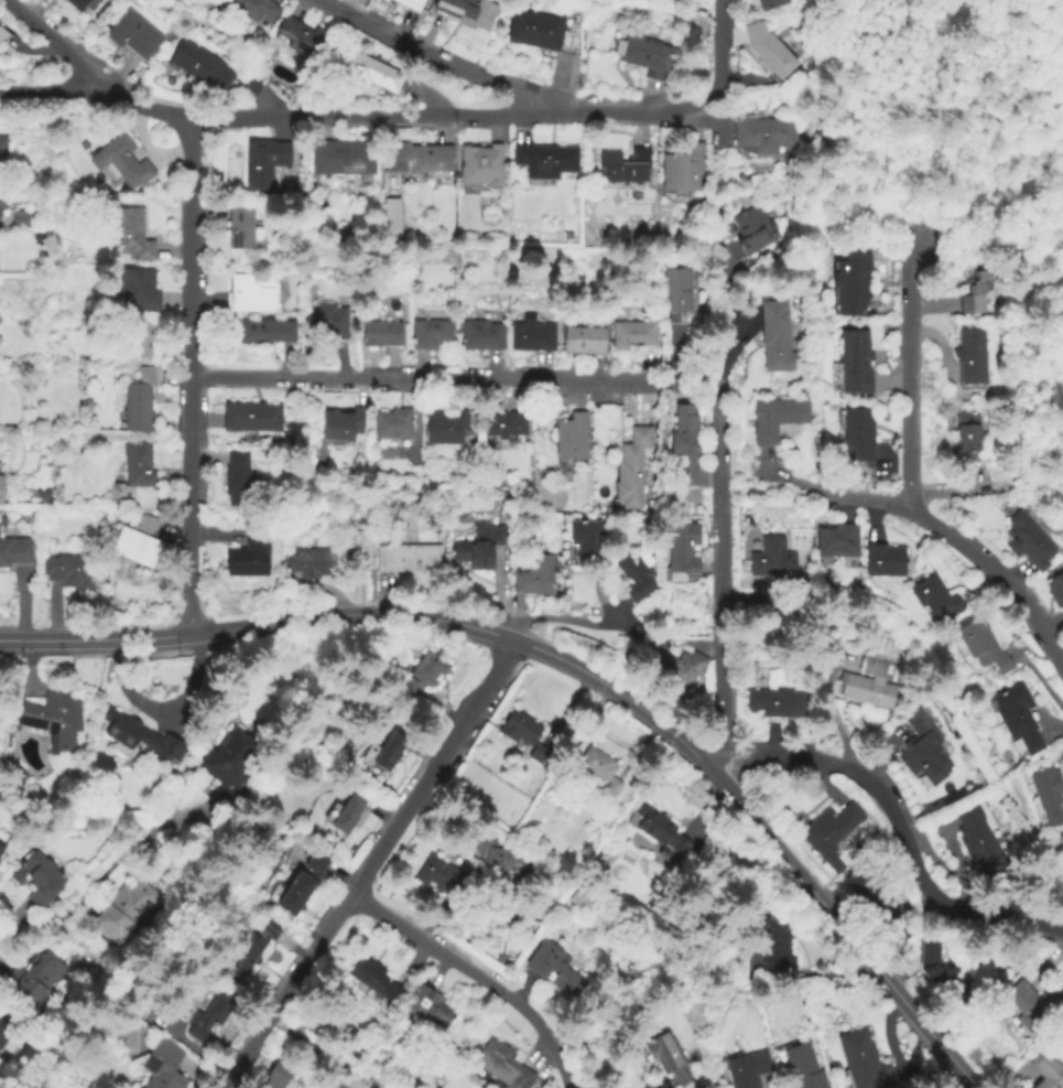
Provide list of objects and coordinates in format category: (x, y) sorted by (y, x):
building: (411, 3)
building: (78, 4)
building: (770, 4)
building: (254, 8)
building: (469, 12)
building: (535, 30)
building: (3, 33)
building: (133, 34)
building: (301, 37)
road: (51, 39)
road: (718, 47)
building: (769, 51)
road: (434, 55)
building: (647, 56)
building: (210, 68)
building: (368, 69)
road: (47, 89)
road: (430, 98)
road: (137, 103)
road: (451, 117)
building: (764, 133)
building: (2, 149)
building: (341, 158)
building: (419, 159)
building: (544, 160)
building: (121, 162)
building: (263, 162)
building: (480, 166)
building: (625, 168)
building: (685, 172)
building: (2, 196)
building: (19, 218)
building: (239, 227)
building: (751, 231)
building: (131, 235)
building: (39, 239)
road: (716, 278)
building: (852, 280)
building: (138, 290)
building: (677, 291)
building: (975, 294)
building: (250, 295)
building: (328, 328)
road: (734, 330)
building: (264, 333)
building: (383, 334)
building: (430, 334)
building: (481, 336)
building: (532, 336)
building: (630, 336)
building: (775, 340)
building: (140, 341)
building: (584, 342)
building: (969, 356)
road: (676, 359)
building: (854, 360)
road: (188, 375)
road: (910, 375)
road: (431, 379)
road: (692, 392)
building: (140, 401)
building: (251, 418)
building: (775, 418)
road: (202, 421)
building: (394, 424)
building: (345, 425)
building: (505, 427)
building: (449, 429)
building: (968, 432)
building: (856, 434)
building: (568, 435)
building: (686, 448)
road: (894, 449)
building: (386, 451)
building: (631, 470)
building: (133, 473)
building: (238, 481)
building: (0, 491)
road: (200, 535)
road: (718, 538)
building: (588, 540)
building: (837, 541)
road: (961, 542)
building: (1028, 542)
building: (137, 543)
building: (480, 547)
building: (361, 552)
building: (682, 552)
building: (15, 554)
building: (250, 554)
building: (408, 559)
building: (771, 559)
building: (885, 561)
building: (315, 563)
building: (67, 573)
building: (634, 578)
building: (530, 582)
building: (1055, 591)
building: (934, 597)
road: (599, 603)
road: (565, 623)
road: (694, 643)
building: (983, 648)
road: (573, 667)
building: (677, 667)
building: (423, 674)
building: (871, 685)
building: (777, 704)
building: (53, 714)
building: (1017, 720)
building: (141, 736)
building: (525, 737)
building: (923, 750)
building: (384, 752)
building: (228, 760)
building: (14, 769)
building: (598, 769)
road: (818, 779)
building: (1048, 795)
building: (345, 814)
road: (436, 818)
road: (894, 823)
building: (659, 833)
building: (829, 833)
building: (978, 841)
building: (1, 849)
building: (503, 859)
road: (371, 864)
road: (105, 868)
building: (440, 877)
building: (37, 879)
building: (303, 885)
building: (582, 897)
building: (871, 897)
building: (122, 908)
building: (775, 944)
building: (251, 947)
building: (556, 969)
building: (936, 969)
road: (898, 970)
building: (32, 977)
road: (479, 977)
building: (375, 978)
building: (429, 1006)
building: (1033, 1008)
building: (209, 1016)
building: (6, 1027)
building: (663, 1053)
building: (865, 1064)
building: (160, 1065)
building: (500, 1066)
building: (747, 1069)
building: (802, 1069)
building: (1046, 1070)
building: (274, 1076)

